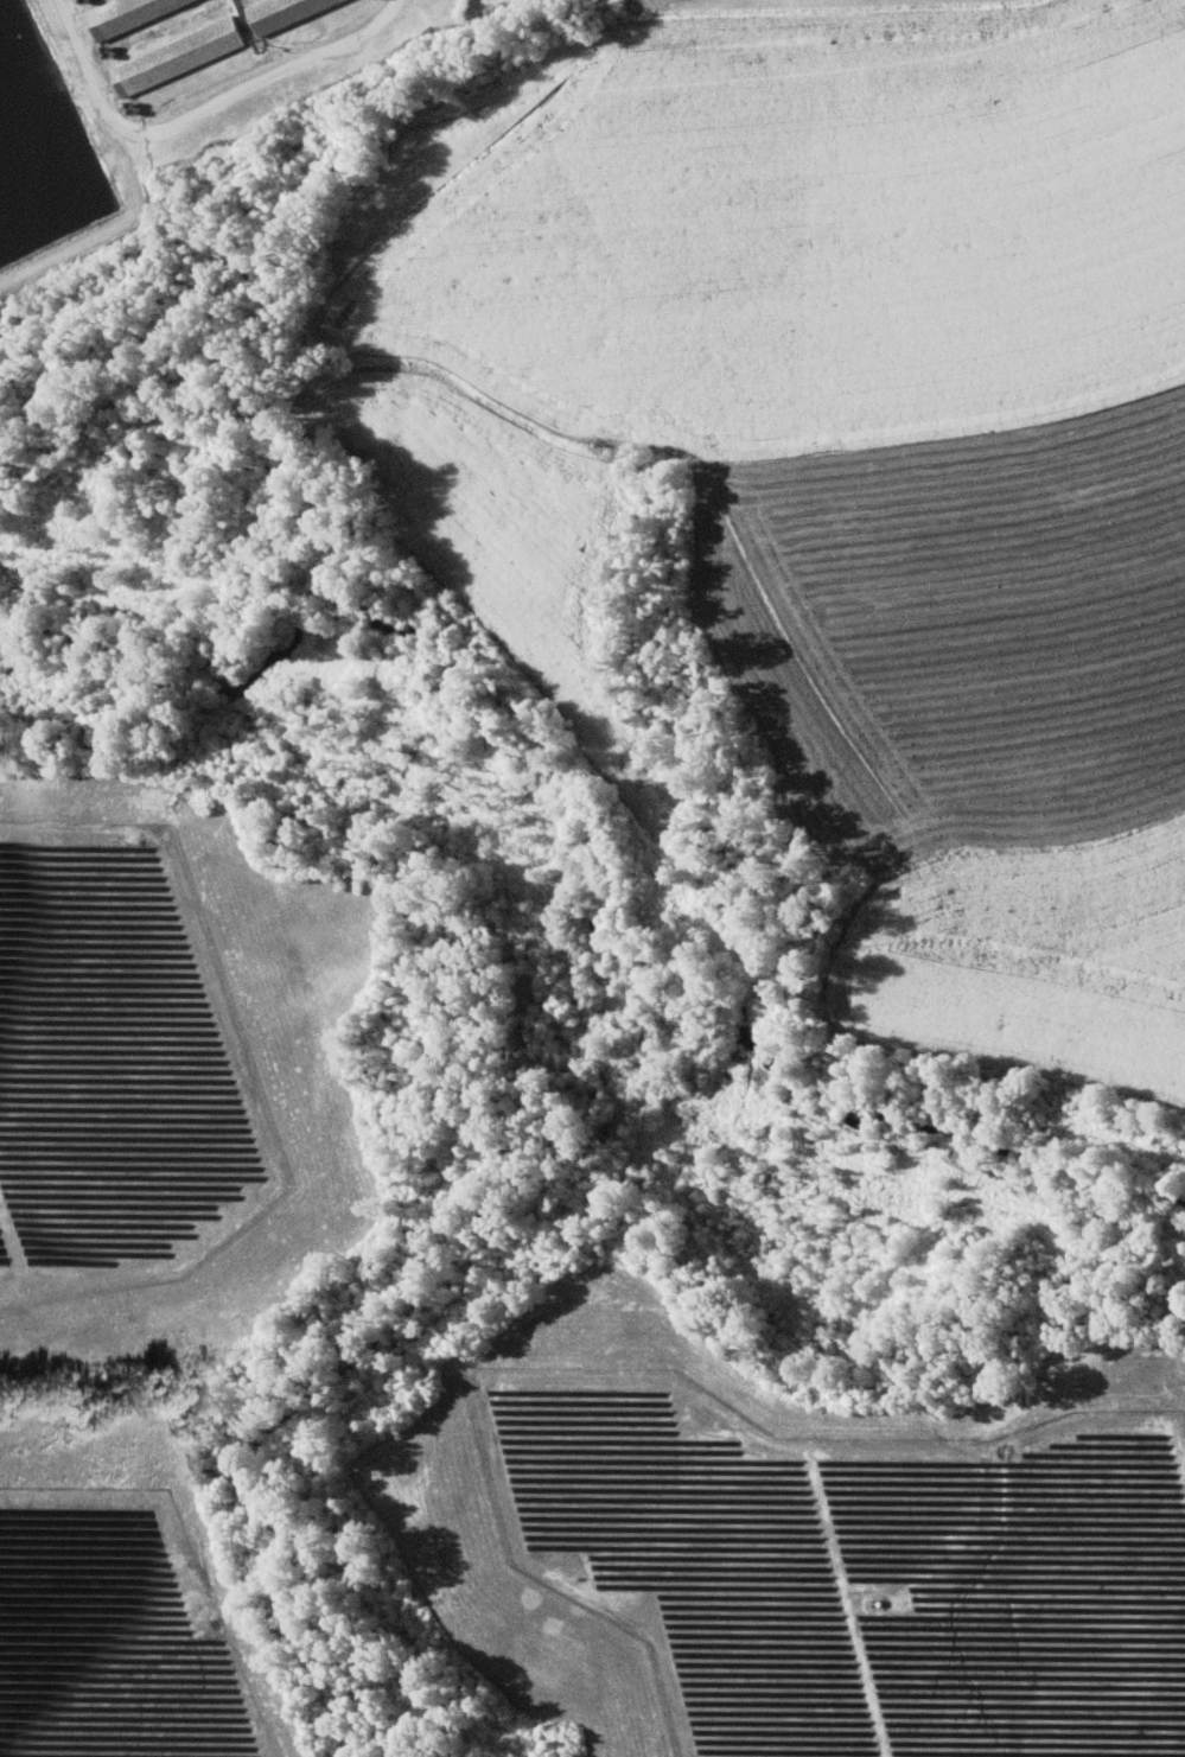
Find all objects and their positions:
building: (283, 12)
building: (129, 13)
building: (178, 55)
solar farm: (116, 1069)
solar farm: (854, 1567)
solar farm: (113, 1634)

